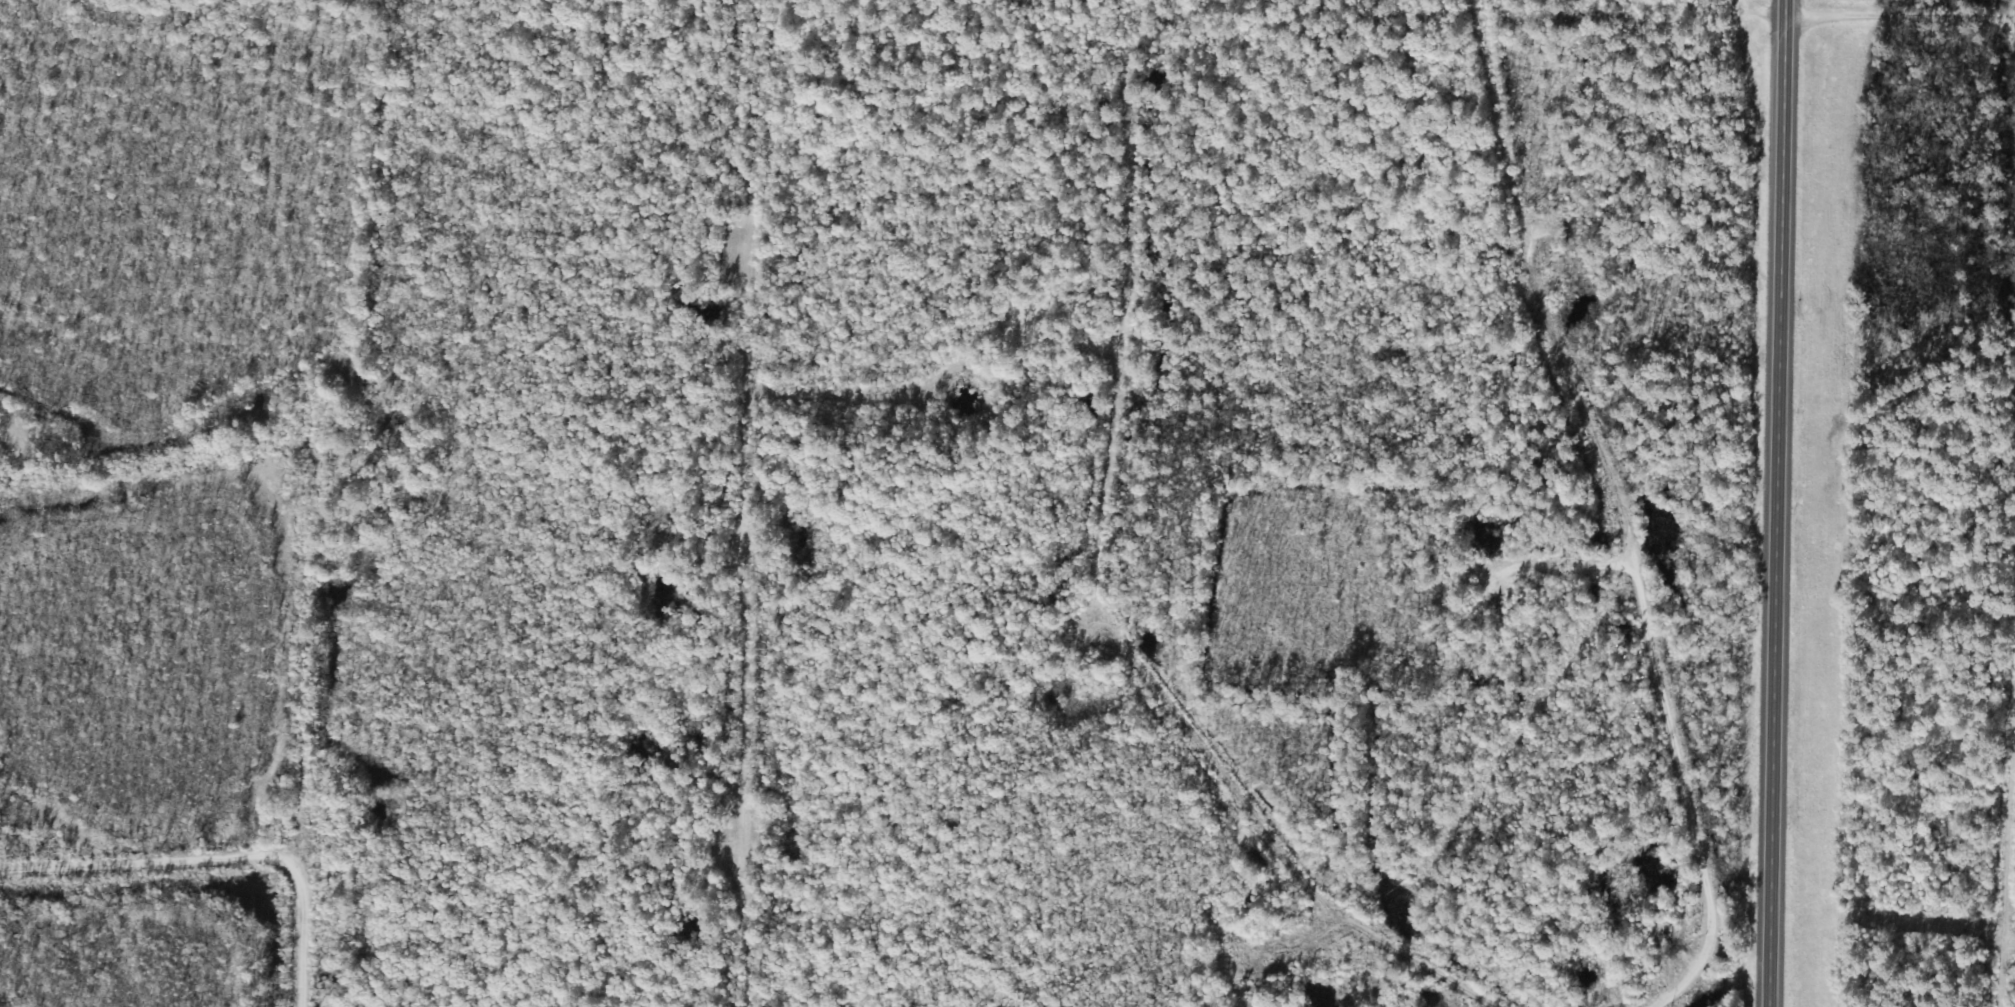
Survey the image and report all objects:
road: (1779, 9)
road: (2000, 212)
road: (796, 401)
road: (728, 503)
road: (1778, 503)
road: (1591, 507)
road: (295, 575)
road: (1542, 576)
road: (1120, 588)
road: (2006, 811)
road: (145, 844)

